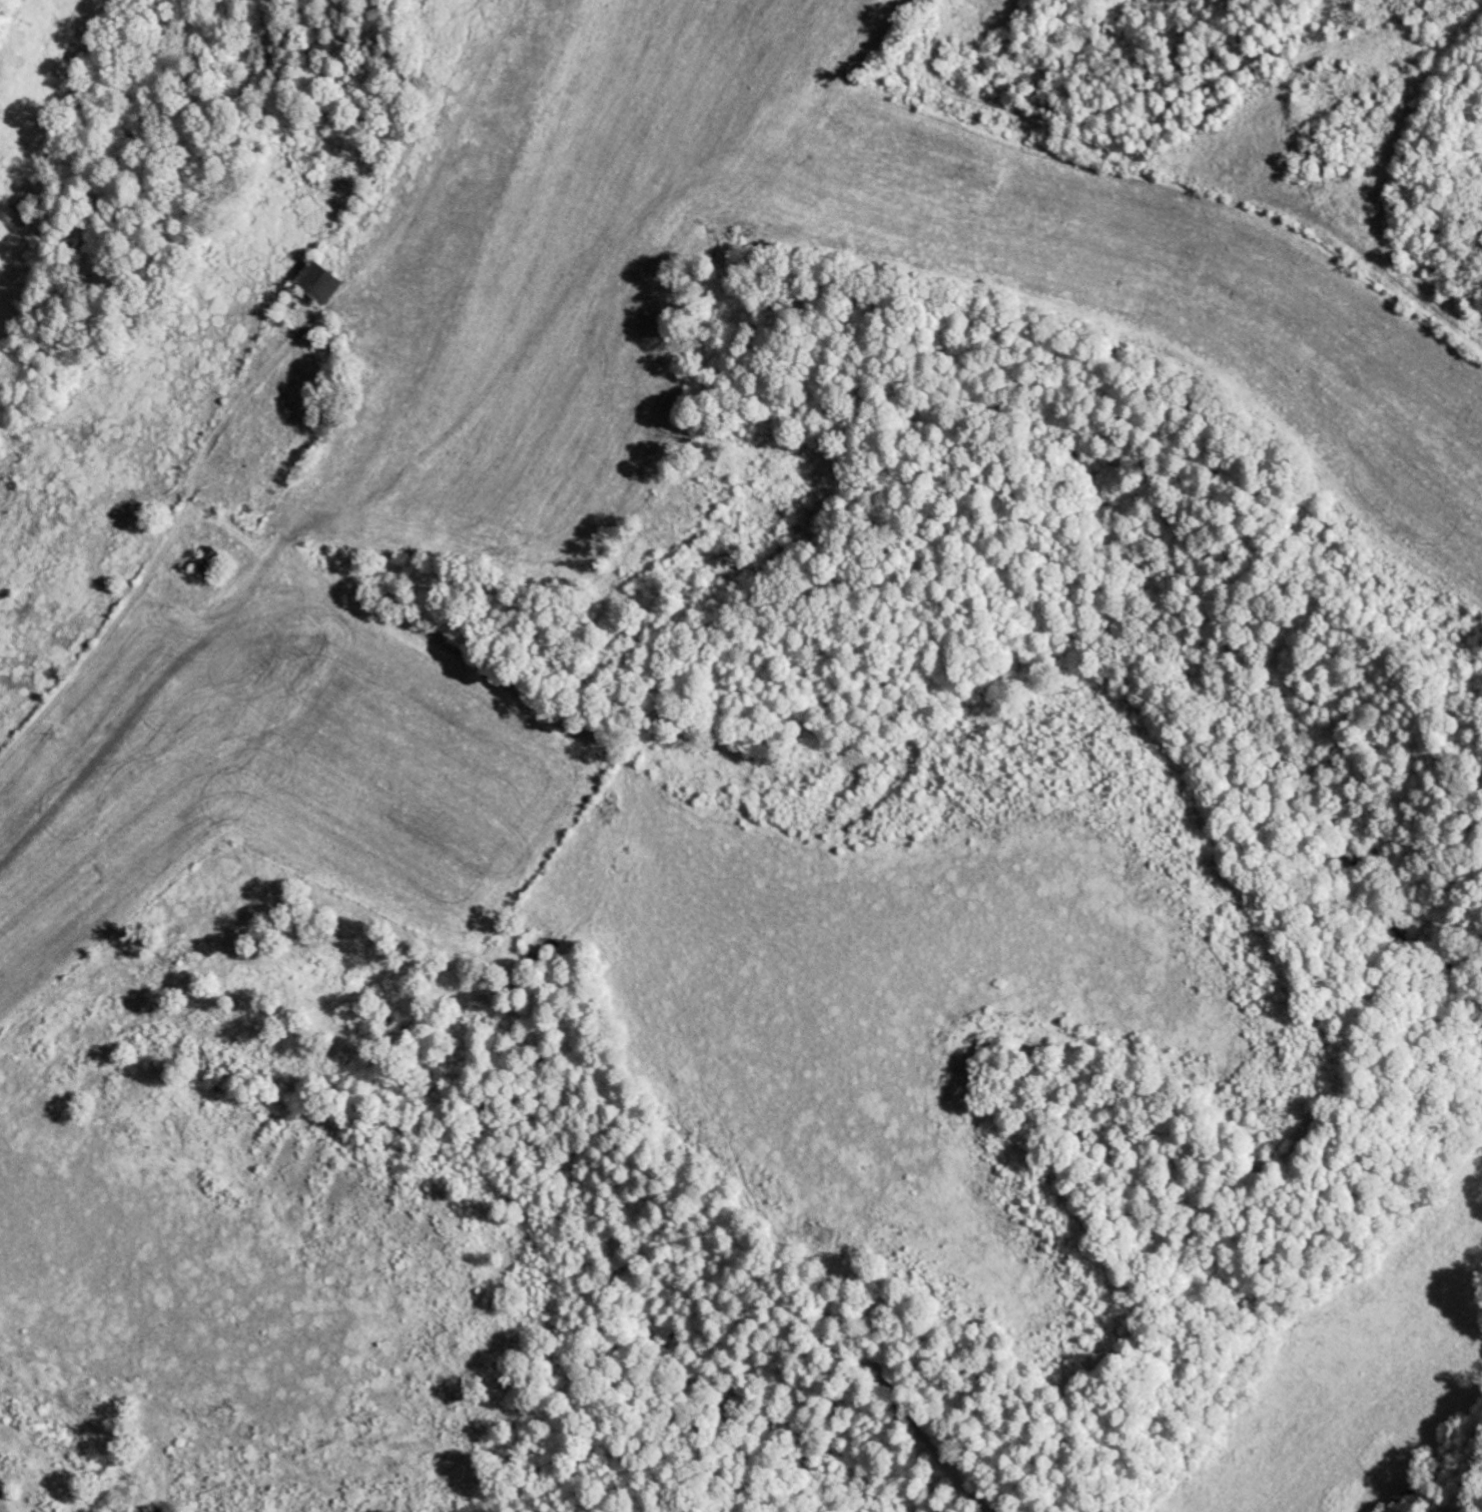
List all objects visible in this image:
building: (312, 280)

